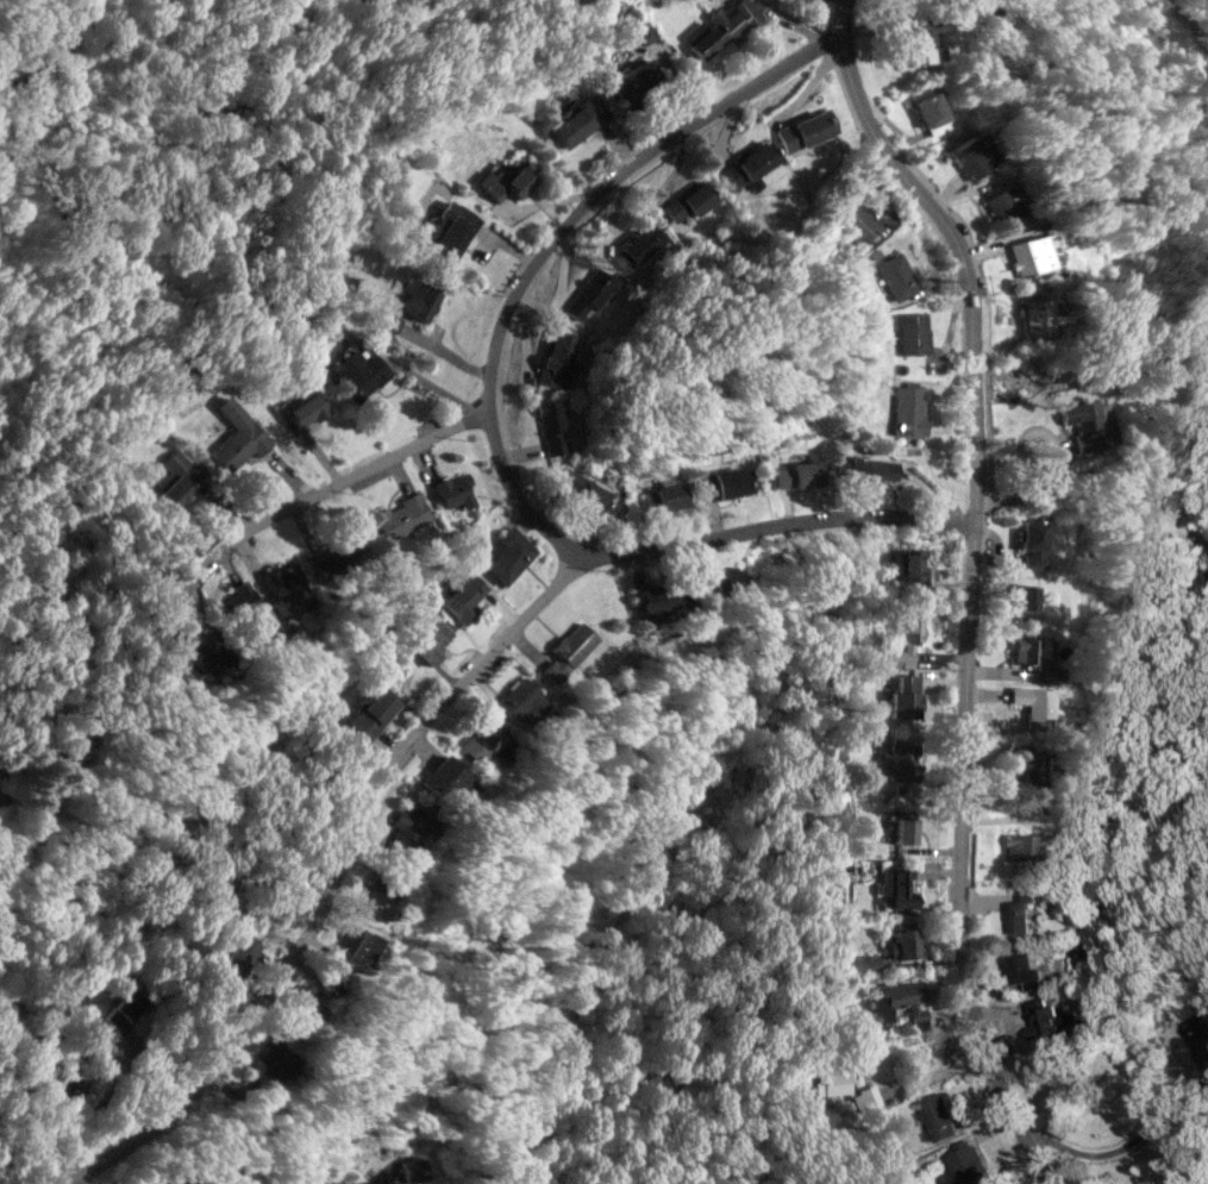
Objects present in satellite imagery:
building: (721, 26)
building: (915, 42)
building: (633, 76)
building: (927, 108)
building: (578, 118)
building: (806, 130)
building: (970, 155)
building: (749, 164)
building: (508, 180)
building: (689, 200)
building: (1004, 202)
building: (857, 219)
building: (447, 227)
building: (638, 244)
building: (1031, 253)
building: (896, 275)
building: (588, 294)
building: (417, 299)
building: (1035, 317)
building: (556, 358)
building: (357, 371)
building: (909, 408)
building: (305, 409)
road: (488, 424)
building: (1089, 424)
building: (551, 426)
building: (239, 438)
building: (864, 469)
building: (799, 471)
building: (176, 478)
building: (727, 482)
building: (455, 489)
building: (663, 491)
building: (402, 516)
building: (1034, 540)
road: (214, 553)
building: (508, 553)
building: (333, 557)
building: (908, 566)
building: (724, 581)
building: (705, 583)
road: (971, 583)
building: (286, 588)
building: (655, 595)
building: (1026, 595)
building: (464, 596)
building: (239, 600)
building: (431, 640)
building: (905, 640)
building: (1028, 649)
building: (567, 650)
building: (198, 654)
building: (903, 694)
building: (520, 702)
building: (1034, 703)
building: (371, 713)
building: (481, 739)
building: (897, 760)
building: (1033, 765)
building: (903, 826)
building: (406, 834)
building: (1020, 850)
road: (327, 876)
building: (899, 887)
building: (380, 897)
building: (1019, 910)
building: (902, 940)
building: (356, 947)
building: (232, 960)
building: (1027, 970)
building: (319, 995)
building: (906, 998)
building: (124, 1007)
building: (1053, 1020)
building: (1198, 1035)
building: (273, 1061)
building: (843, 1086)
building: (938, 1116)
building: (969, 1165)
road: (219, 1167)
building: (414, 1169)

